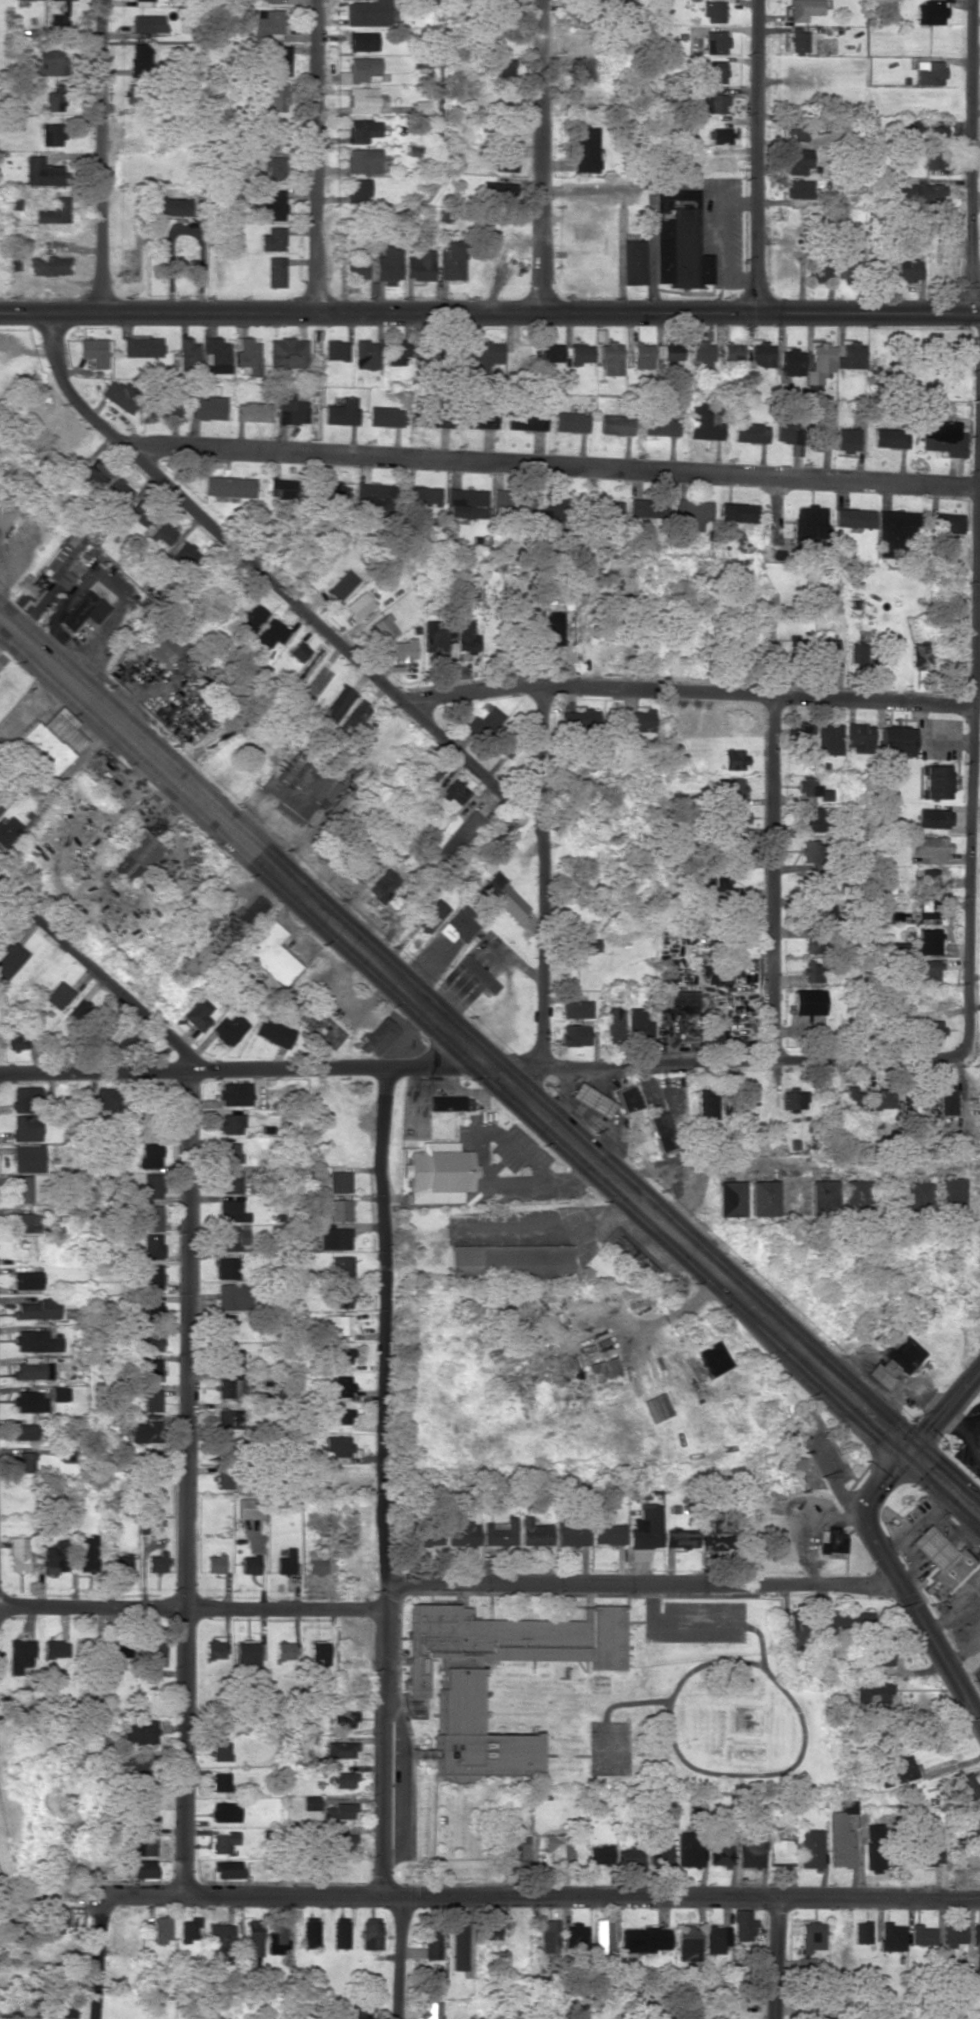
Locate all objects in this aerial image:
building: (803, 9)
building: (713, 11)
building: (929, 12)
building: (370, 13)
building: (57, 21)
building: (266, 22)
building: (147, 23)
building: (797, 39)
building: (363, 40)
building: (715, 41)
building: (139, 55)
building: (281, 58)
building: (49, 62)
building: (505, 66)
building: (361, 70)
building: (715, 71)
building: (585, 72)
building: (928, 72)
building: (277, 96)
building: (362, 99)
building: (55, 101)
building: (421, 106)
building: (911, 126)
building: (798, 128)
building: (363, 129)
building: (935, 129)
building: (52, 133)
building: (720, 135)
road: (974, 137)
building: (586, 147)
road: (319, 154)
road: (102, 155)
road: (540, 156)
road: (761, 157)
building: (934, 159)
building: (364, 160)
building: (798, 161)
building: (717, 162)
building: (276, 166)
building: (43, 172)
building: (799, 188)
building: (361, 189)
building: (496, 190)
building: (925, 192)
building: (269, 203)
building: (169, 206)
building: (54, 211)
building: (273, 239)
building: (679, 240)
building: (452, 259)
building: (634, 261)
building: (389, 263)
building: (48, 265)
building: (420, 265)
building: (907, 269)
building: (819, 270)
building: (276, 271)
building: (356, 271)
road: (432, 310)
road: (51, 312)
road: (870, 316)
building: (142, 347)
building: (337, 350)
building: (93, 351)
building: (669, 351)
building: (189, 352)
building: (288, 352)
building: (397, 352)
building: (551, 353)
building: (581, 353)
building: (702, 353)
building: (367, 354)
building: (733, 354)
building: (762, 354)
building: (216, 355)
building: (486, 355)
building: (852, 355)
building: (247, 356)
building: (642, 356)
building: (611, 358)
building: (792, 362)
building: (819, 365)
building: (120, 395)
building: (208, 407)
building: (293, 408)
park: (252, 409)
building: (343, 411)
building: (255, 412)
building: (386, 416)
building: (703, 420)
building: (570, 422)
building: (615, 424)
building: (660, 425)
park: (43, 430)
building: (787, 431)
building: (750, 432)
building: (823, 435)
building: (889, 437)
building: (943, 437)
building: (847, 439)
road: (548, 466)
building: (96, 472)
building: (230, 486)
building: (287, 488)
building: (118, 491)
building: (331, 492)
building: (378, 495)
building: (423, 495)
building: (466, 502)
building: (608, 508)
building: (647, 508)
building: (5, 514)
building: (692, 514)
building: (734, 516)
building: (854, 517)
building: (137, 518)
road: (207, 522)
building: (810, 524)
building: (893, 529)
building: (186, 553)
building: (67, 559)
building: (342, 585)
building: (359, 606)
building: (84, 610)
building: (252, 615)
building: (385, 627)
building: (272, 632)
building: (554, 632)
building: (436, 636)
building: (464, 639)
building: (779, 640)
building: (164, 644)
building: (827, 647)
building: (405, 649)
building: (299, 651)
building: (858, 652)
building: (920, 654)
road: (692, 691)
building: (339, 703)
building: (357, 715)
building: (641, 719)
building: (486, 720)
building: (581, 721)
building: (800, 734)
building: (858, 736)
building: (829, 738)
building: (895, 738)
building: (54, 739)
building: (734, 758)
road: (472, 766)
building: (431, 769)
building: (935, 781)
building: (298, 785)
building: (732, 786)
road: (974, 787)
building: (812, 788)
building: (456, 791)
building: (0, 808)
building: (811, 815)
building: (736, 817)
building: (934, 817)
building: (8, 830)
building: (461, 836)
building: (736, 843)
building: (929, 845)
building: (132, 854)
building: (809, 855)
road: (771, 875)
road: (540, 877)
building: (719, 881)
building: (921, 883)
building: (383, 884)
building: (503, 896)
building: (930, 909)
building: (821, 912)
building: (431, 915)
building: (458, 924)
building: (820, 941)
building: (929, 941)
building: (589, 945)
building: (271, 954)
building: (11, 958)
building: (927, 968)
building: (814, 970)
building: (477, 973)
road: (100, 974)
building: (718, 974)
building: (58, 995)
building: (677, 1001)
building: (808, 1001)
building: (575, 1007)
building: (199, 1014)
building: (613, 1022)
building: (638, 1022)
road: (445, 1023)
building: (229, 1028)
building: (934, 1028)
building: (325, 1031)
building: (275, 1032)
building: (573, 1034)
building: (377, 1036)
building: (15, 1040)
building: (128, 1042)
road: (732, 1059)
road: (332, 1068)
road: (96, 1072)
building: (235, 1093)
building: (883, 1097)
building: (27, 1098)
building: (107, 1098)
building: (627, 1098)
building: (795, 1098)
building: (590, 1099)
building: (947, 1099)
building: (854, 1100)
building: (451, 1103)
building: (706, 1104)
building: (231, 1123)
building: (26, 1127)
building: (662, 1131)
building: (230, 1152)
building: (150, 1155)
building: (28, 1157)
road: (738, 1164)
building: (439, 1172)
building: (339, 1181)
building: (230, 1182)
building: (151, 1185)
building: (23, 1188)
building: (856, 1194)
building: (950, 1195)
building: (824, 1196)
building: (917, 1196)
building: (730, 1198)
building: (764, 1198)
building: (340, 1209)
building: (232, 1211)
building: (152, 1217)
building: (26, 1222)
building: (232, 1238)
building: (334, 1238)
building: (151, 1246)
building: (509, 1260)
building: (340, 1267)
building: (227, 1268)
building: (151, 1276)
building: (27, 1279)
building: (230, 1296)
building: (341, 1298)
building: (38, 1309)
building: (151, 1309)
building: (224, 1323)
building: (338, 1324)
building: (149, 1340)
building: (36, 1341)
building: (341, 1355)
building: (229, 1358)
building: (712, 1358)
building: (895, 1361)
building: (603, 1367)
building: (152, 1369)
building: (33, 1370)
building: (596, 1377)
building: (343, 1385)
building: (229, 1388)
building: (60, 1393)
road: (946, 1399)
building: (151, 1400)
building: (31, 1402)
building: (227, 1415)
building: (340, 1415)
traffic signals: (926, 1425)
traffic signals: (887, 1429)
building: (145, 1430)
building: (26, 1431)
road: (902, 1436)
road: (896, 1443)
building: (338, 1445)
road: (908, 1447)
building: (224, 1451)
building: (68, 1455)
traffic signals: (931, 1455)
building: (151, 1457)
building: (25, 1461)
building: (792, 1463)
road: (947, 1469)
traffic signals: (885, 1476)
building: (224, 1479)
road: (383, 1481)
road: (187, 1482)
road: (941, 1490)
building: (250, 1508)
building: (644, 1531)
building: (501, 1532)
building: (534, 1532)
building: (465, 1533)
building: (608, 1533)
building: (572, 1534)
building: (427, 1537)
building: (680, 1537)
building: (715, 1537)
building: (831, 1540)
building: (18, 1553)
building: (87, 1553)
building: (56, 1557)
building: (941, 1560)
building: (122, 1561)
building: (286, 1561)
building: (316, 1561)
building: (157, 1562)
building: (215, 1563)
building: (250, 1564)
road: (642, 1582)
road: (901, 1591)
road: (194, 1608)
building: (846, 1621)
building: (797, 1632)
building: (56, 1648)
building: (214, 1649)
building: (284, 1650)
building: (154, 1651)
building: (247, 1652)
building: (319, 1652)
building: (19, 1654)
building: (882, 1654)
building: (977, 1675)
building: (458, 1685)
building: (872, 1691)
building: (342, 1717)
building: (139, 1731)
building: (340, 1749)
building: (221, 1751)
building: (140, 1762)
building: (896, 1770)
building: (343, 1779)
building: (220, 1781)
building: (963, 1790)
building: (145, 1793)
building: (311, 1802)
building: (339, 1810)
building: (225, 1812)
building: (146, 1820)
building: (978, 1829)
building: (840, 1835)
building: (223, 1841)
building: (346, 1841)
building: (143, 1845)
building: (873, 1846)
building: (558, 1847)
building: (810, 1848)
building: (520, 1849)
building: (688, 1850)
building: (750, 1852)
building: (779, 1852)
building: (931, 1853)
building: (599, 1854)
building: (720, 1855)
building: (629, 1856)
building: (662, 1856)
building: (144, 1868)
building: (228, 1868)
road: (145, 1895)
road: (583, 1895)
building: (54, 1921)
building: (742, 1925)
building: (163, 1928)
building: (491, 1929)
building: (189, 1931)
building: (311, 1932)
building: (341, 1932)
building: (862, 1932)
building: (371, 1933)
building: (921, 1934)
building: (575, 1935)
building: (277, 1936)
building: (549, 1936)
building: (603, 1936)
building: (891, 1936)
building: (254, 1937)
building: (220, 1938)
building: (716, 1938)
building: (644, 1939)
building: (432, 1942)
building: (688, 1943)
building: (459, 1945)
building: (812, 1946)
road: (99, 1957)
road: (398, 1957)
road: (775, 1957)
building: (50, 2006)
building: (430, 2010)
building: (361, 2011)
building: (826, 2017)

